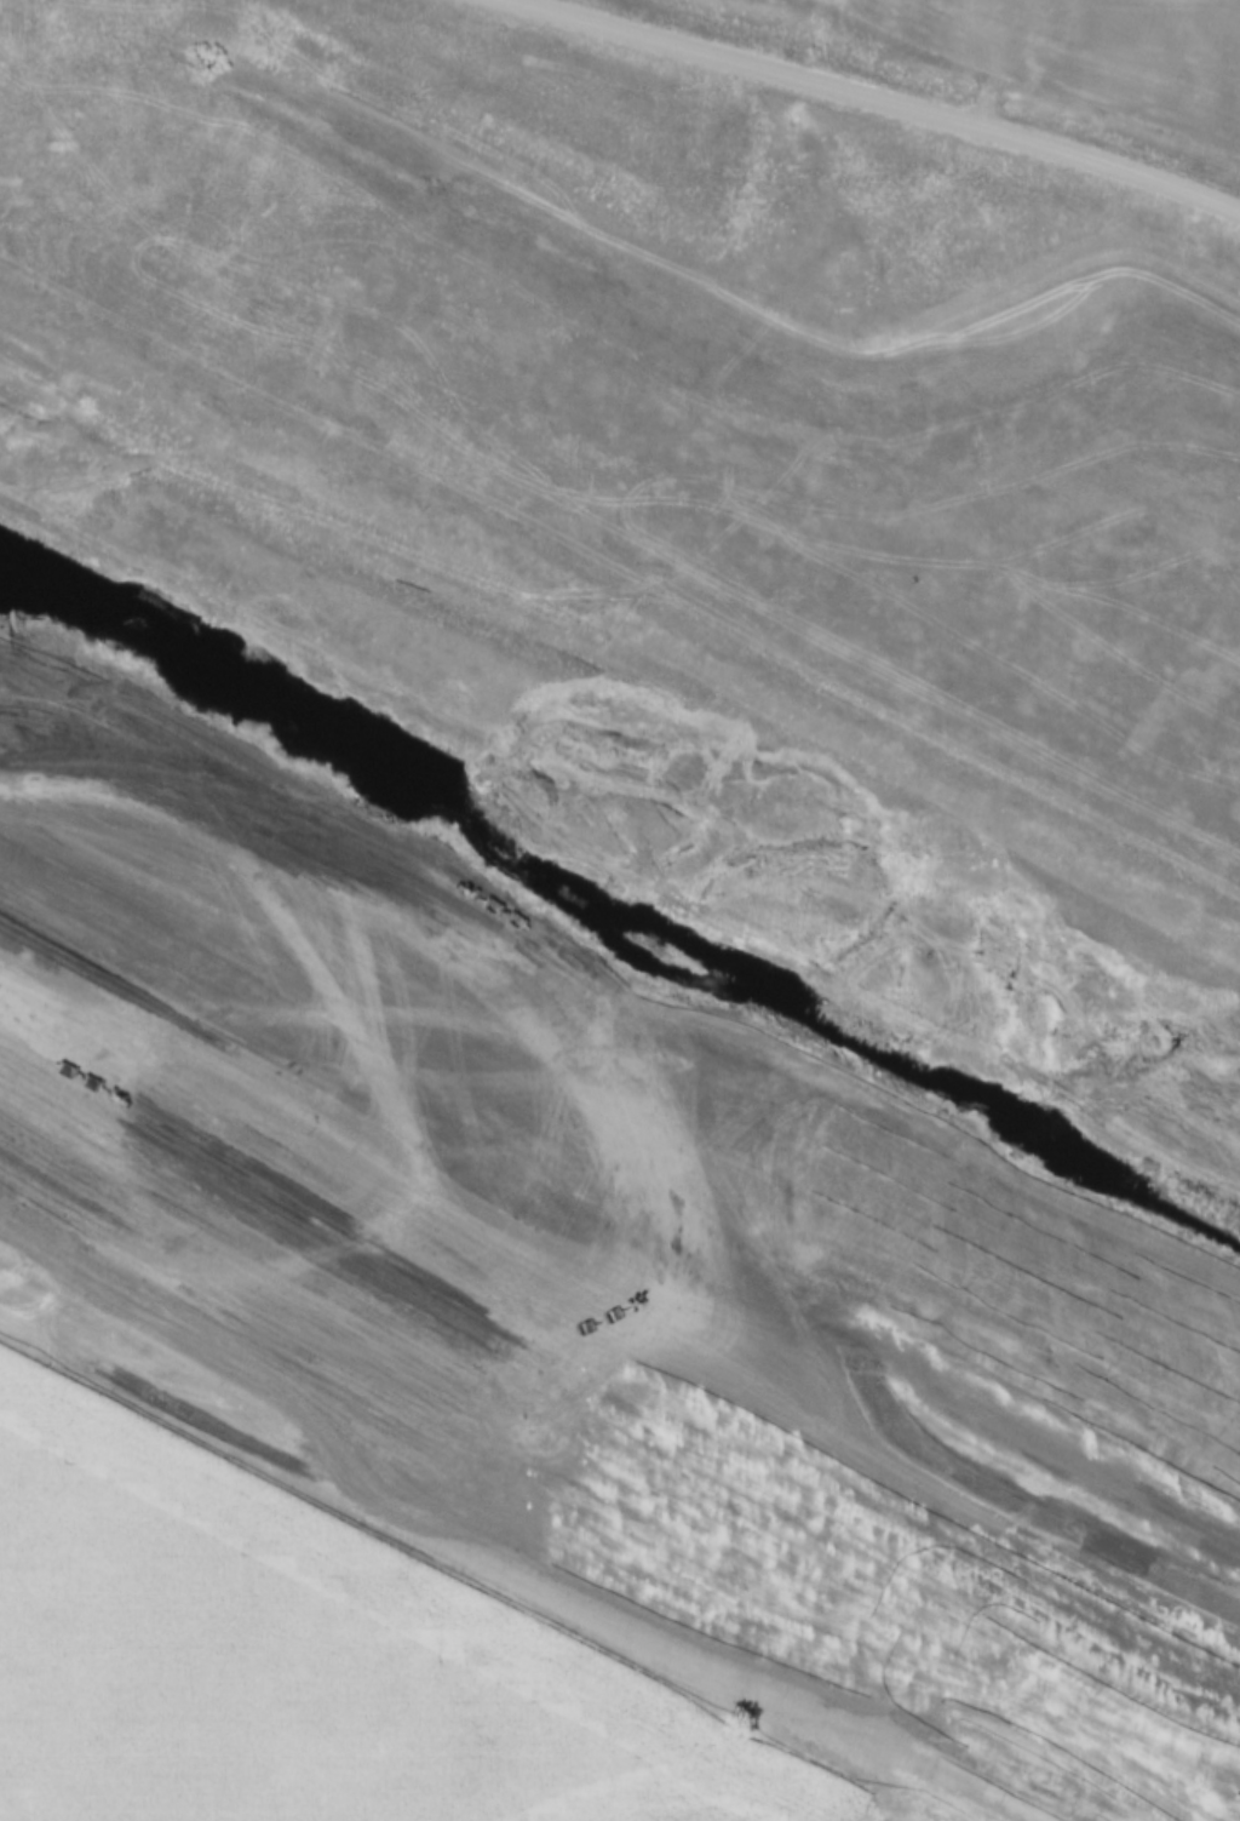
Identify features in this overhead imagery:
road: (882, 98)
road: (484, 1139)

